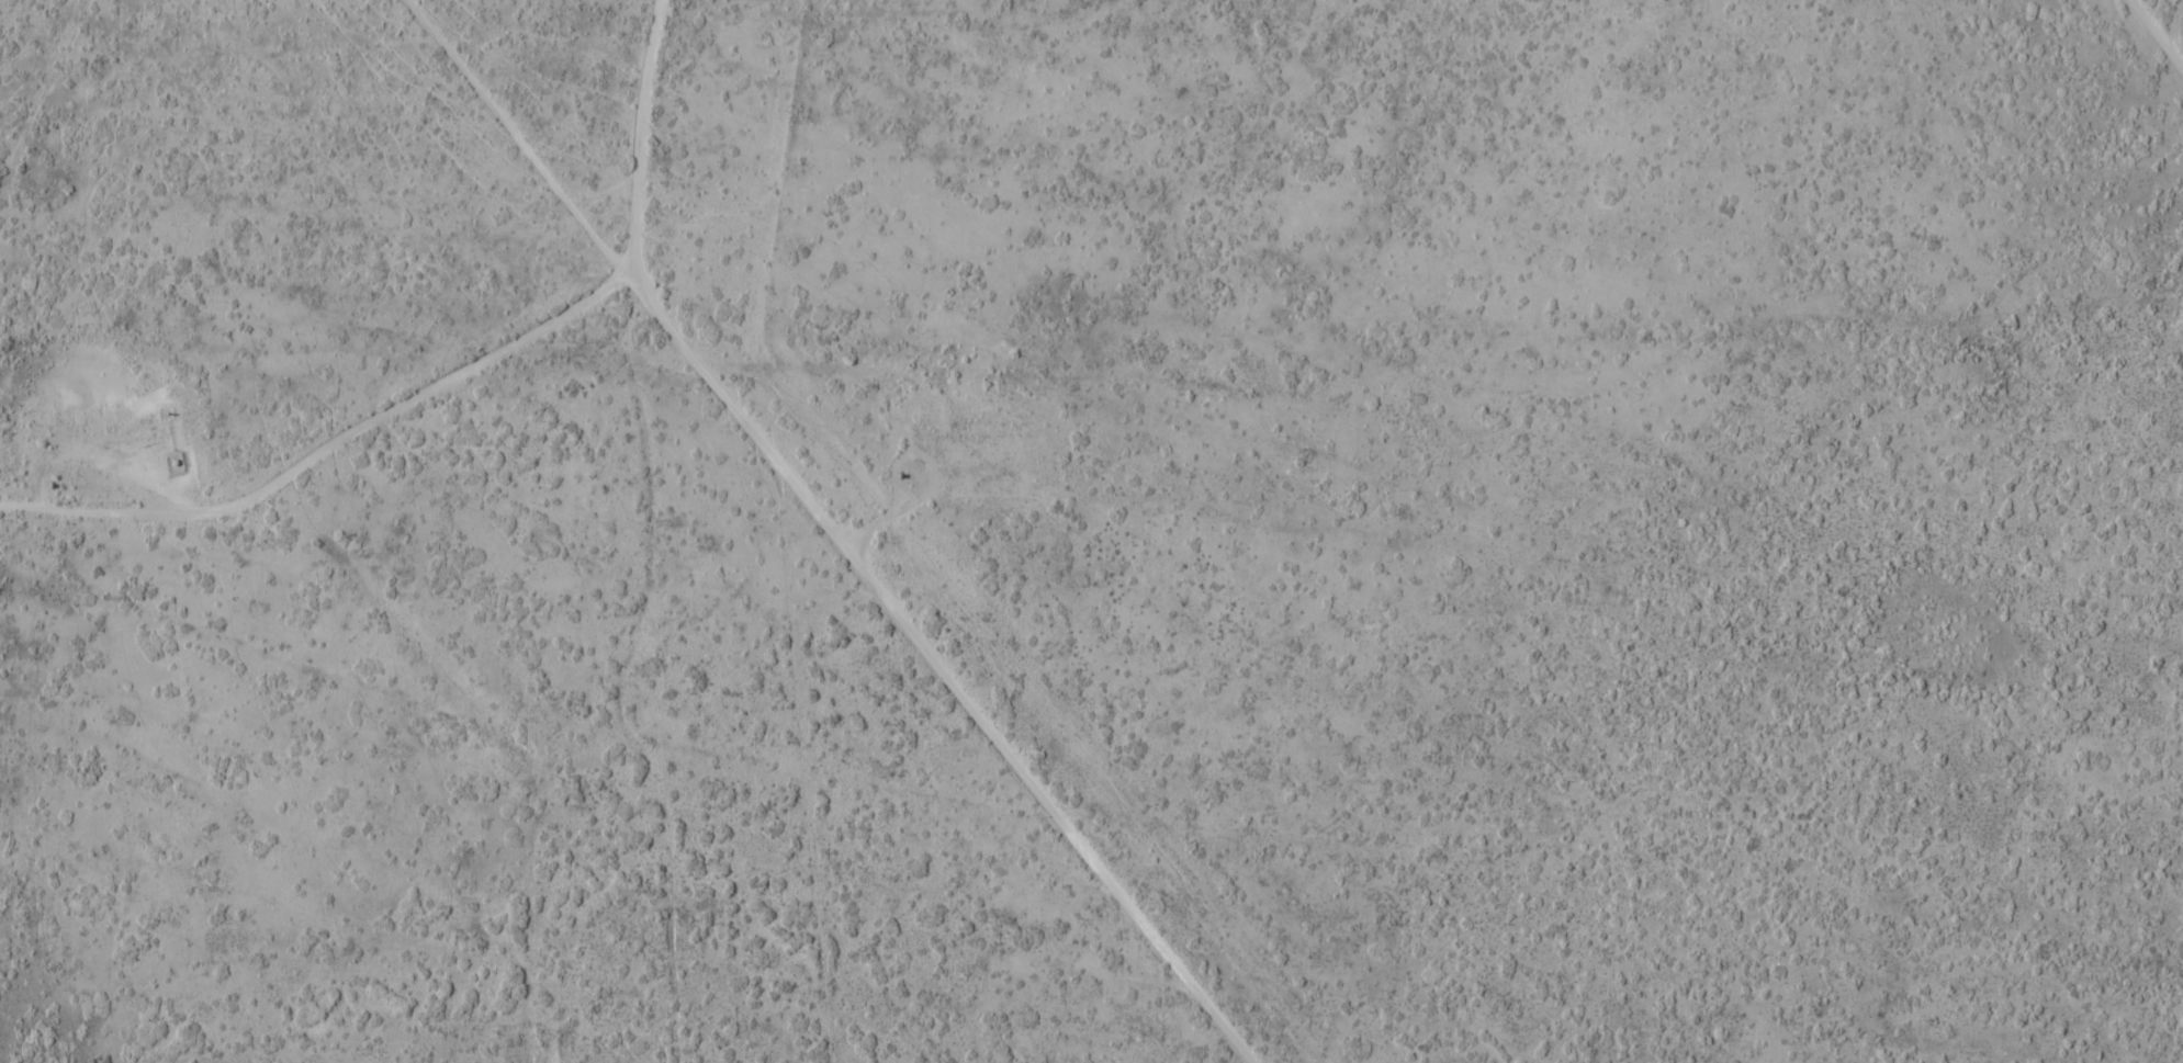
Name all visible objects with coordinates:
road: (2160, 31)
road: (63, 135)
road: (652, 509)
road: (852, 563)

